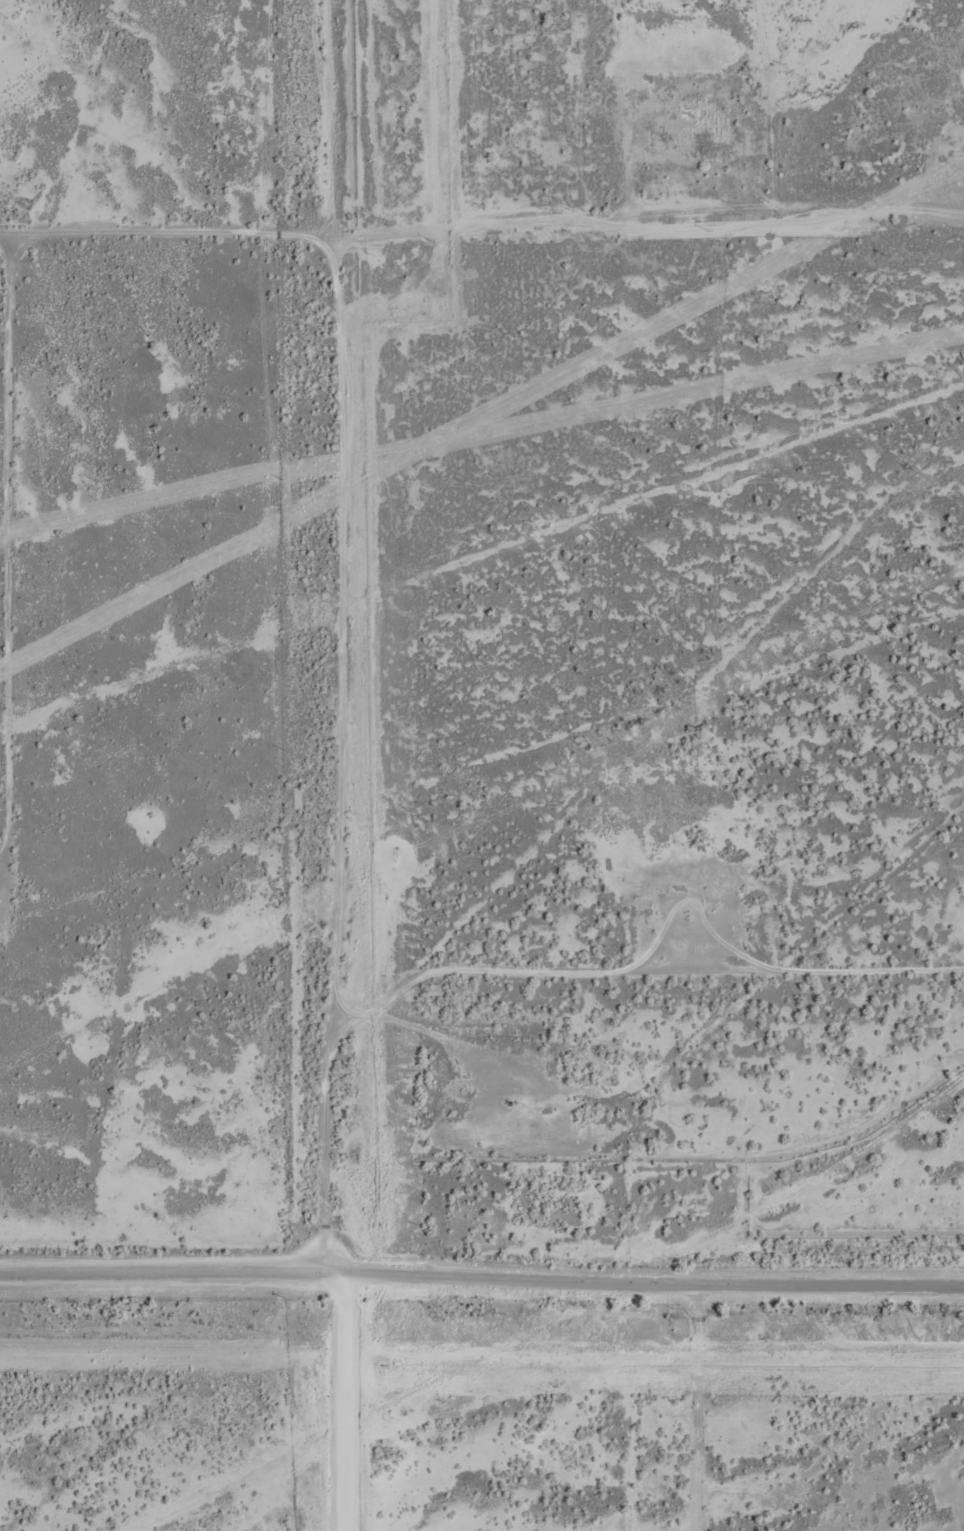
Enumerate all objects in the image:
road: (328, 643)
road: (482, 1284)

